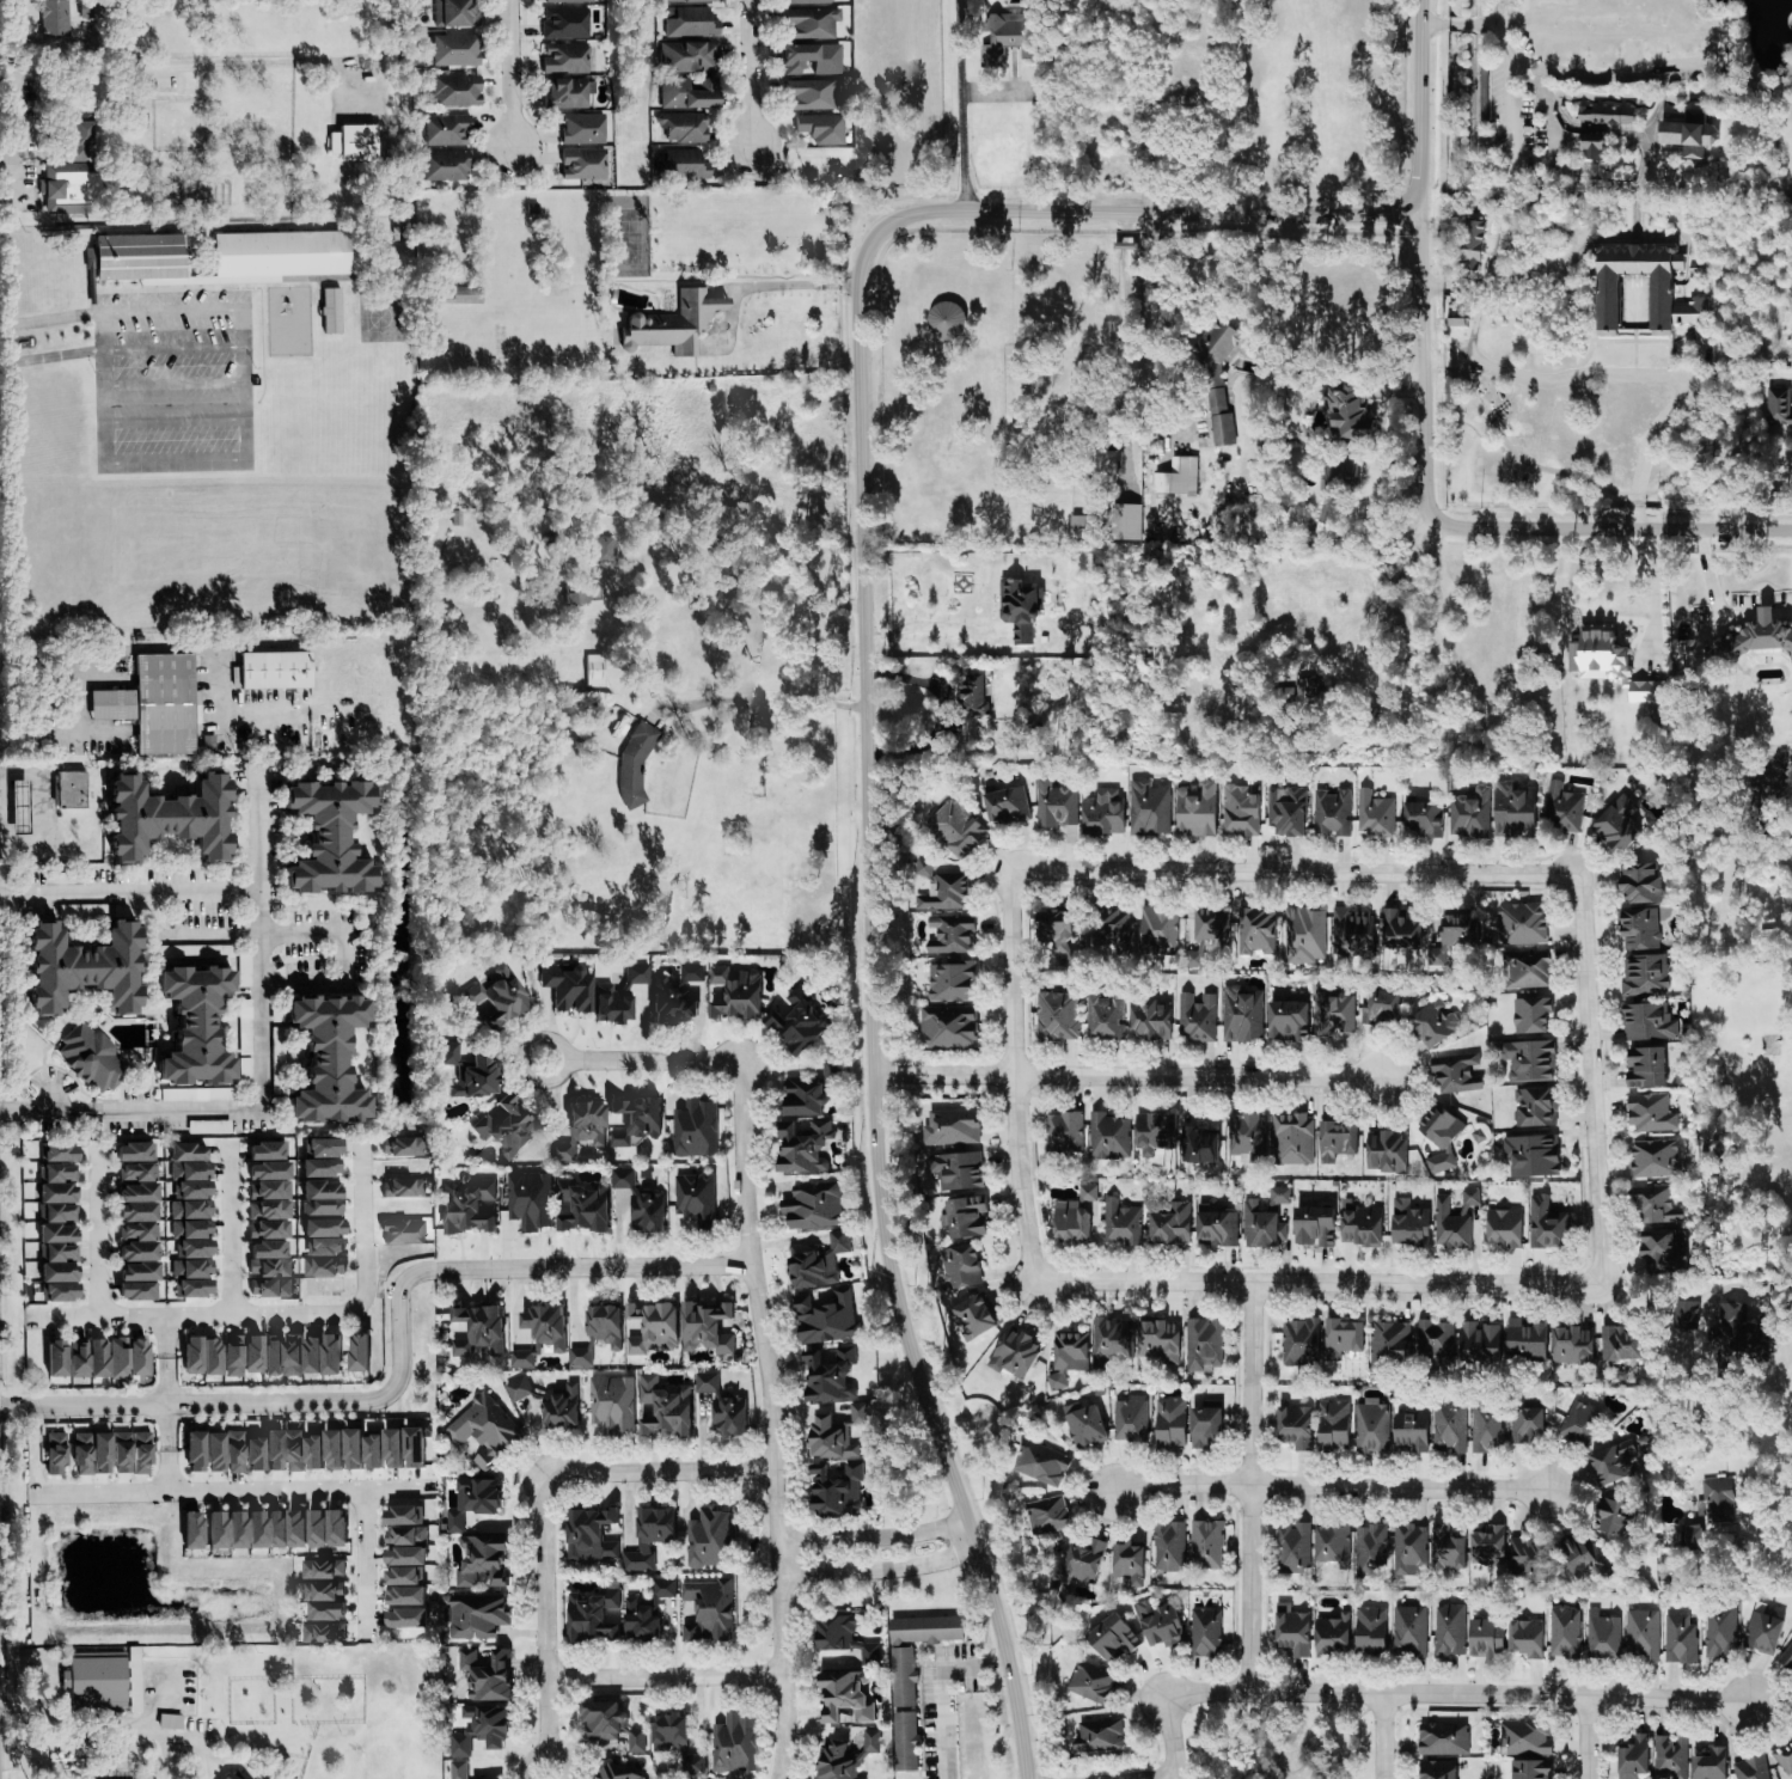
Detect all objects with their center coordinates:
building: (565, 1)
building: (684, 1)
building: (807, 1)
building: (454, 14)
building: (53, 18)
building: (563, 23)
building: (689, 24)
building: (808, 24)
road: (1456, 26)
building: (1008, 38)
building: (454, 50)
building: (687, 57)
building: (563, 59)
building: (811, 59)
road: (192, 65)
road: (751, 71)
road: (510, 73)
road: (1619, 80)
building: (454, 91)
building: (565, 92)
building: (686, 93)
building: (809, 94)
road: (959, 104)
building: (1604, 115)
building: (683, 127)
road: (1574, 128)
building: (581, 129)
building: (820, 129)
building: (445, 130)
parking lot: (1523, 130)
building: (1689, 132)
building: (80, 136)
road: (17, 137)
building: (351, 143)
building: (1591, 148)
road: (1640, 157)
building: (581, 164)
building: (442, 165)
building: (680, 165)
road: (1507, 169)
railway: (1554, 187)
building: (68, 188)
road: (1123, 226)
road: (1124, 245)
building: (1470, 246)
building: (276, 257)
building: (136, 259)
building: (204, 283)
road: (773, 285)
road: (1452, 285)
building: (464, 295)
building: (1607, 302)
road: (170, 312)
building: (1690, 312)
building: (328, 314)
road: (1160, 317)
road: (49, 320)
building: (944, 320)
building: (669, 325)
road: (1423, 342)
building: (1216, 343)
road: (171, 348)
road: (1126, 354)
road: (49, 357)
road: (172, 384)
road: (244, 386)
road: (100, 389)
building: (1778, 408)
building: (1347, 410)
building: (1218, 418)
road: (172, 421)
road: (1686, 427)
road: (172, 463)
building: (1106, 466)
building: (1340, 472)
building: (1176, 476)
building: (1326, 516)
building: (1126, 521)
building: (1081, 527)
road: (1595, 528)
building: (600, 549)
road: (735, 585)
building: (582, 593)
road: (1652, 600)
road: (1433, 605)
road: (1714, 607)
building: (1017, 609)
road: (930, 626)
building: (1756, 637)
road: (864, 641)
building: (1608, 662)
building: (270, 670)
building: (593, 670)
building: (1309, 691)
building: (973, 695)
road: (758, 698)
road: (82, 702)
building: (154, 704)
road: (941, 710)
building: (207, 742)
building: (71, 788)
building: (1004, 803)
building: (1054, 803)
building: (19, 805)
gas station: (19, 805)
building: (1561, 807)
building: (1146, 808)
building: (1194, 809)
building: (1239, 809)
building: (1512, 809)
building: (1285, 811)
building: (1101, 812)
building: (1331, 812)
building: (1469, 813)
building: (1374, 814)
building: (165, 817)
building: (1424, 818)
building: (1616, 825)
building: (955, 827)
building: (326, 836)
road: (1296, 870)
road: (190, 889)
building: (943, 892)
building: (1639, 906)
building: (1521, 923)
building: (1053, 928)
building: (1112, 929)
building: (1400, 929)
building: (1458, 930)
building: (1157, 931)
building: (1255, 931)
building: (1351, 933)
road: (288, 934)
building: (948, 934)
building: (1207, 934)
building: (1303, 935)
building: (79, 967)
building: (1525, 970)
building: (690, 972)
building: (1644, 974)
building: (949, 982)
building: (567, 986)
building: (734, 991)
building: (497, 997)
building: (669, 1002)
building: (1378, 1007)
building: (1331, 1011)
building: (1241, 1014)
building: (1530, 1015)
building: (1056, 1016)
building: (1105, 1016)
building: (1195, 1016)
building: (1149, 1020)
building: (1288, 1021)
building: (1647, 1022)
building: (796, 1023)
building: (1433, 1023)
building: (191, 1025)
building: (947, 1027)
building: (88, 1058)
building: (325, 1058)
road: (644, 1058)
building: (276, 1059)
building: (1528, 1062)
building: (1645, 1068)
building: (466, 1071)
building: (828, 1072)
building: (1455, 1072)
road: (1014, 1075)
road: (1126, 1075)
road: (1591, 1077)
building: (202, 1095)
building: (802, 1098)
building: (1534, 1107)
road: (243, 1109)
building: (1650, 1113)
building: (631, 1119)
building: (952, 1126)
building: (506, 1127)
building: (580, 1129)
building: (693, 1129)
building: (1063, 1132)
building: (1152, 1133)
building: (1439, 1135)
building: (1247, 1136)
building: (1107, 1137)
building: (1291, 1139)
building: (1334, 1142)
building: (1198, 1145)
building: (322, 1147)
building: (399, 1147)
building: (802, 1148)
building: (267, 1151)
building: (1384, 1151)
building: (56, 1153)
building: (1530, 1156)
building: (1653, 1159)
building: (132, 1161)
building: (186, 1161)
building: (319, 1167)
building: (267, 1170)
building: (956, 1170)
building: (55, 1173)
building: (400, 1188)
building: (192, 1190)
building: (1277, 1196)
building: (319, 1198)
building: (693, 1199)
building: (528, 1200)
building: (640, 1203)
building: (1655, 1204)
building: (582, 1205)
building: (466, 1206)
building: (812, 1206)
building: (190, 1210)
building: (268, 1210)
building: (964, 1217)
building: (1072, 1217)
building: (1452, 1219)
road: (366, 1222)
building: (1120, 1223)
building: (1407, 1223)
building: (1169, 1224)
building: (1358, 1224)
building: (1215, 1225)
building: (1260, 1225)
building: (1313, 1225)
building: (1546, 1225)
building: (1503, 1227)
road: (231, 1228)
building: (322, 1228)
building: (190, 1229)
road: (99, 1230)
building: (135, 1231)
building: (402, 1231)
building: (56, 1233)
building: (324, 1247)
building: (194, 1248)
building: (1662, 1251)
building: (817, 1264)
building: (322, 1266)
building: (960, 1266)
building: (190, 1268)
building: (268, 1270)
road: (1319, 1280)
building: (192, 1288)
building: (135, 1291)
building: (57, 1292)
road: (1774, 1306)
road: (191, 1314)
building: (1684, 1315)
building: (973, 1318)
building: (824, 1319)
building: (705, 1327)
building: (650, 1328)
building: (1738, 1328)
building: (476, 1329)
building: (538, 1333)
building: (597, 1333)
building: (1343, 1338)
building: (1525, 1339)
building: (1111, 1340)
building: (1158, 1341)
building: (1433, 1341)
building: (1479, 1341)
building: (1298, 1343)
building: (1620, 1344)
building: (1201, 1345)
building: (1388, 1345)
building: (1571, 1345)
building: (356, 1352)
building: (240, 1355)
building: (281, 1355)
building: (319, 1355)
building: (1013, 1355)
building: (200, 1356)
building: (127, 1357)
building: (1066, 1357)
building: (54, 1358)
building: (86, 1358)
road: (399, 1358)
building: (827, 1375)
building: (705, 1382)
building: (516, 1389)
road: (167, 1404)
building: (611, 1404)
building: (559, 1407)
building: (661, 1407)
building: (857, 1414)
road: (773, 1418)
building: (1130, 1419)
building: (1169, 1423)
building: (1578, 1423)
building: (1525, 1424)
building: (1083, 1425)
building: (1203, 1425)
building: (1332, 1425)
building: (1371, 1426)
building: (1293, 1428)
building: (1486, 1428)
building: (483, 1429)
building: (1448, 1429)
building: (1409, 1431)
building: (827, 1439)
building: (411, 1448)
building: (360, 1450)
building: (290, 1451)
building: (130, 1453)
building: (221, 1453)
building: (54, 1454)
building: (90, 1454)
building: (1613, 1463)
building: (1041, 1465)
road: (662, 1472)
road: (1181, 1484)
road: (1250, 1485)
road: (1399, 1487)
building: (834, 1490)
road: (232, 1491)
building: (471, 1500)
building: (1715, 1500)
building: (400, 1516)
building: (1045, 1516)
building: (1610, 1517)
building: (294, 1528)
building: (324, 1528)
road: (1759, 1528)
building: (234, 1529)
building: (274, 1529)
building: (191, 1530)
road: (873, 1534)
building: (588, 1535)
building: (1692, 1535)
building: (404, 1536)
building: (648, 1537)
building: (708, 1539)
building: (1331, 1543)
building: (1205, 1545)
building: (1487, 1546)
building: (1168, 1547)
building: (1292, 1547)
building: (1370, 1548)
building: (1408, 1549)
building: (1447, 1549)
building: (1525, 1555)
building: (403, 1557)
building: (481, 1560)
building: (1585, 1560)
road: (366, 1563)
building: (1127, 1563)
building: (1080, 1564)
building: (322, 1570)
road: (881, 1570)
building: (399, 1577)
building: (662, 1588)
building: (322, 1591)
building: (402, 1596)
building: (708, 1610)
building: (324, 1612)
road: (548, 1613)
building: (591, 1615)
building: (475, 1616)
building: (403, 1619)
building: (638, 1621)
building: (1158, 1624)
building: (833, 1631)
building: (1291, 1631)
building: (1369, 1631)
building: (1408, 1631)
building: (1448, 1631)
building: (322, 1632)
building: (1205, 1632)
building: (1562, 1632)
building: (1719, 1633)
building: (1762, 1633)
building: (1601, 1636)
building: (1640, 1636)
building: (1329, 1637)
building: (1524, 1638)
building: (1111, 1639)
building: (1485, 1639)
building: (1678, 1639)
building: (868, 1655)
building: (1786, 1659)
building: (484, 1675)
road: (667, 1675)
building: (901, 1675)
building: (94, 1680)
building: (1089, 1682)
road: (937, 1688)
road: (1374, 1691)
road: (1666, 1697)
building: (600, 1720)
building: (169, 1722)
building: (479, 1730)
road: (1384, 1735)
building: (1096, 1736)
road: (1168, 1736)
road: (1586, 1736)
building: (1524, 1738)
park: (1277, 1740)
building: (1442, 1740)
building: (635, 1741)
building: (904, 1741)
building: (674, 1743)
building: (733, 1744)
road: (545, 1753)
building: (844, 1757)
building: (1633, 1757)
building: (1669, 1757)
building: (1785, 1757)
road: (24, 1762)
building: (1710, 1765)
building: (1750, 1768)
building: (457, 1769)
building: (1436, 1769)
building: (1530, 1769)
building: (616, 1773)
building: (232, 1775)
building: (287, 1778)

